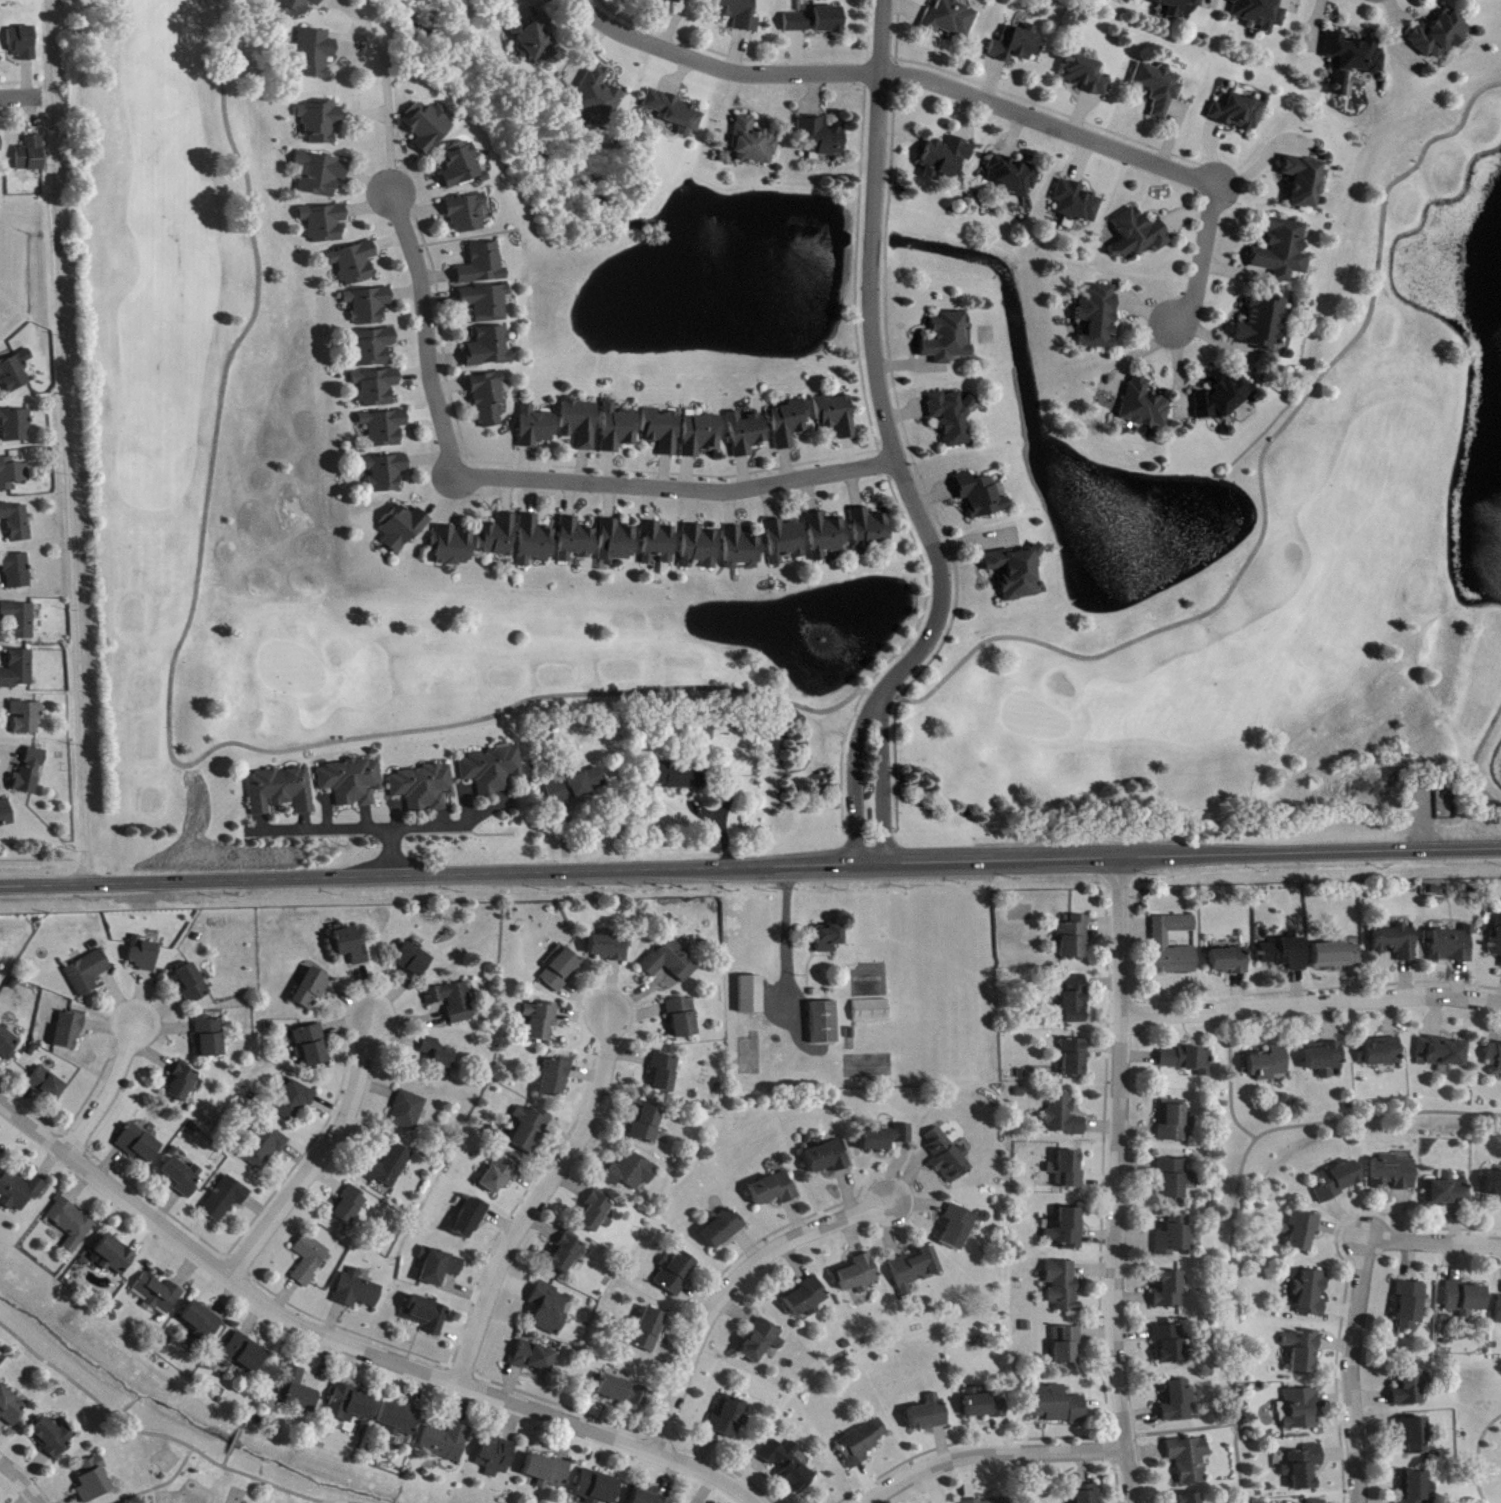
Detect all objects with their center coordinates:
building: (671, 1)
building: (1177, 6)
building: (297, 7)
building: (1259, 13)
building: (740, 14)
building: (951, 20)
building: (817, 22)
building: (1439, 36)
building: (536, 42)
building: (23, 43)
building: (1018, 45)
building: (315, 54)
building: (1352, 61)
road: (724, 67)
building: (1087, 76)
building: (1159, 88)
road: (383, 90)
road: (18, 94)
building: (597, 96)
building: (676, 113)
building: (1239, 113)
building: (321, 122)
building: (428, 127)
building: (822, 140)
building: (754, 144)
building: (1, 145)
road: (1122, 149)
building: (32, 155)
building: (946, 158)
building: (462, 166)
building: (321, 175)
building: (1012, 176)
building: (1303, 182)
building: (1077, 203)
building: (466, 215)
building: (325, 224)
building: (1139, 235)
building: (1282, 252)
building: (354, 264)
building: (482, 266)
building: (486, 303)
building: (368, 306)
building: (1098, 317)
building: (1262, 325)
building: (947, 339)
building: (373, 348)
building: (489, 349)
building: (16, 373)
building: (377, 388)
building: (1223, 398)
building: (490, 399)
building: (1144, 406)
building: (836, 416)
building: (950, 418)
building: (581, 424)
building: (789, 424)
building: (17, 426)
building: (536, 428)
building: (385, 429)
building: (619, 429)
building: (662, 431)
building: (747, 434)
building: (701, 435)
park: (208, 440)
road: (68, 443)
road: (892, 448)
building: (386, 473)
building: (13, 475)
road: (530, 480)
road: (1265, 492)
building: (979, 496)
building: (17, 522)
building: (403, 529)
building: (871, 531)
building: (826, 536)
building: (499, 538)
building: (576, 541)
building: (536, 542)
building: (785, 542)
building: (618, 543)
building: (658, 544)
building: (454, 547)
building: (700, 548)
building: (742, 550)
building: (18, 572)
building: (1016, 573)
building: (21, 620)
fountain: (816, 636)
building: (20, 670)
building: (28, 718)
road: (847, 723)
road: (173, 743)
road: (1478, 765)
building: (495, 770)
building: (31, 773)
building: (680, 776)
building: (353, 782)
building: (579, 787)
building: (425, 789)
building: (282, 792)
building: (6, 815)
road: (451, 829)
road: (344, 832)
road: (35, 857)
road: (841, 860)
road: (750, 869)
road: (841, 878)
road: (750, 883)
building: (830, 940)
building: (1162, 941)
building: (1397, 943)
building: (1496, 943)
road: (791, 944)
building: (1453, 946)
building: (352, 947)
building: (612, 949)
building: (145, 955)
building: (1286, 955)
building: (1339, 956)
building: (413, 961)
building: (1229, 962)
building: (672, 963)
building: (562, 971)
building: (89, 973)
building: (193, 984)
building: (313, 989)
building: (752, 996)
building: (454, 1002)
building: (1075, 1002)
road: (1313, 1002)
building: (872, 1012)
building: (684, 1019)
building: (541, 1021)
building: (825, 1024)
building: (70, 1031)
building: (211, 1038)
building: (8, 1043)
building: (312, 1047)
building: (1384, 1053)
building: (1444, 1053)
building: (440, 1057)
building: (1495, 1058)
building: (1075, 1059)
building: (1327, 1060)
building: (1190, 1061)
building: (1269, 1065)
building: (665, 1073)
road: (1230, 1076)
building: (556, 1079)
building: (183, 1084)
building: (48, 1086)
road: (112, 1089)
building: (295, 1103)
building: (409, 1112)
building: (1065, 1116)
building: (1175, 1122)
building: (649, 1123)
building: (530, 1129)
building: (903, 1135)
building: (876, 1141)
building: (140, 1145)
building: (265, 1149)
building: (0, 1151)
road: (324, 1155)
building: (948, 1157)
building: (827, 1159)
building: (390, 1168)
building: (1068, 1172)
building: (632, 1173)
building: (501, 1174)
building: (1395, 1174)
building: (184, 1178)
building: (1174, 1180)
road: (1118, 1181)
building: (1340, 1182)
building: (774, 1190)
building: (19, 1191)
road: (1235, 1193)
building: (1448, 1194)
road: (540, 1196)
building: (226, 1200)
building: (350, 1207)
building: (597, 1214)
building: (471, 1219)
building: (71, 1224)
building: (961, 1227)
building: (722, 1228)
building: (1068, 1231)
building: (1303, 1233)
building: (1176, 1237)
building: (566, 1256)
building: (113, 1257)
building: (310, 1260)
building: (439, 1268)
building: (915, 1271)
building: (676, 1274)
building: (857, 1276)
road: (731, 1284)
building: (1063, 1287)
building: (359, 1291)
building: (1170, 1292)
building: (1312, 1294)
building: (159, 1295)
building: (806, 1299)
building: (1466, 1300)
road: (1356, 1303)
building: (1411, 1307)
building: (549, 1310)
building: (1499, 1313)
road: (295, 1314)
building: (427, 1316)
building: (202, 1322)
building: (647, 1331)
road: (364, 1334)
building: (762, 1342)
road: (355, 1344)
building: (1066, 1345)
building: (1171, 1345)
building: (1304, 1352)
building: (243, 1355)
building: (534, 1359)
building: (0, 1364)
road: (264, 1373)
building: (1411, 1386)
building: (295, 1391)
building: (620, 1392)
building: (1178, 1402)
building: (349, 1405)
building: (984, 1406)
building: (1059, 1406)
building: (11, 1408)
building: (1300, 1411)
building: (928, 1415)
building: (729, 1418)
building: (399, 1421)
road: (1179, 1428)
road: (162, 1434)
building: (1414, 1436)
road: (233, 1438)
building: (54, 1439)
road: (970, 1439)
building: (446, 1443)
building: (861, 1444)
road: (990, 1453)
road: (1476, 1454)
road: (225, 1457)
building: (496, 1457)
building: (1190, 1461)
park: (1489, 1461)
building: (788, 1466)
building: (1304, 1468)
building: (547, 1473)
park: (200, 1476)
road: (22, 1480)
building: (94, 1481)
road: (157, 1484)
building: (1414, 1488)
building: (597, 1489)
building: (1088, 1494)
park: (235, 1495)
building: (646, 1498)
building: (1190, 1499)
building: (998, 1501)
building: (1315, 1502)

